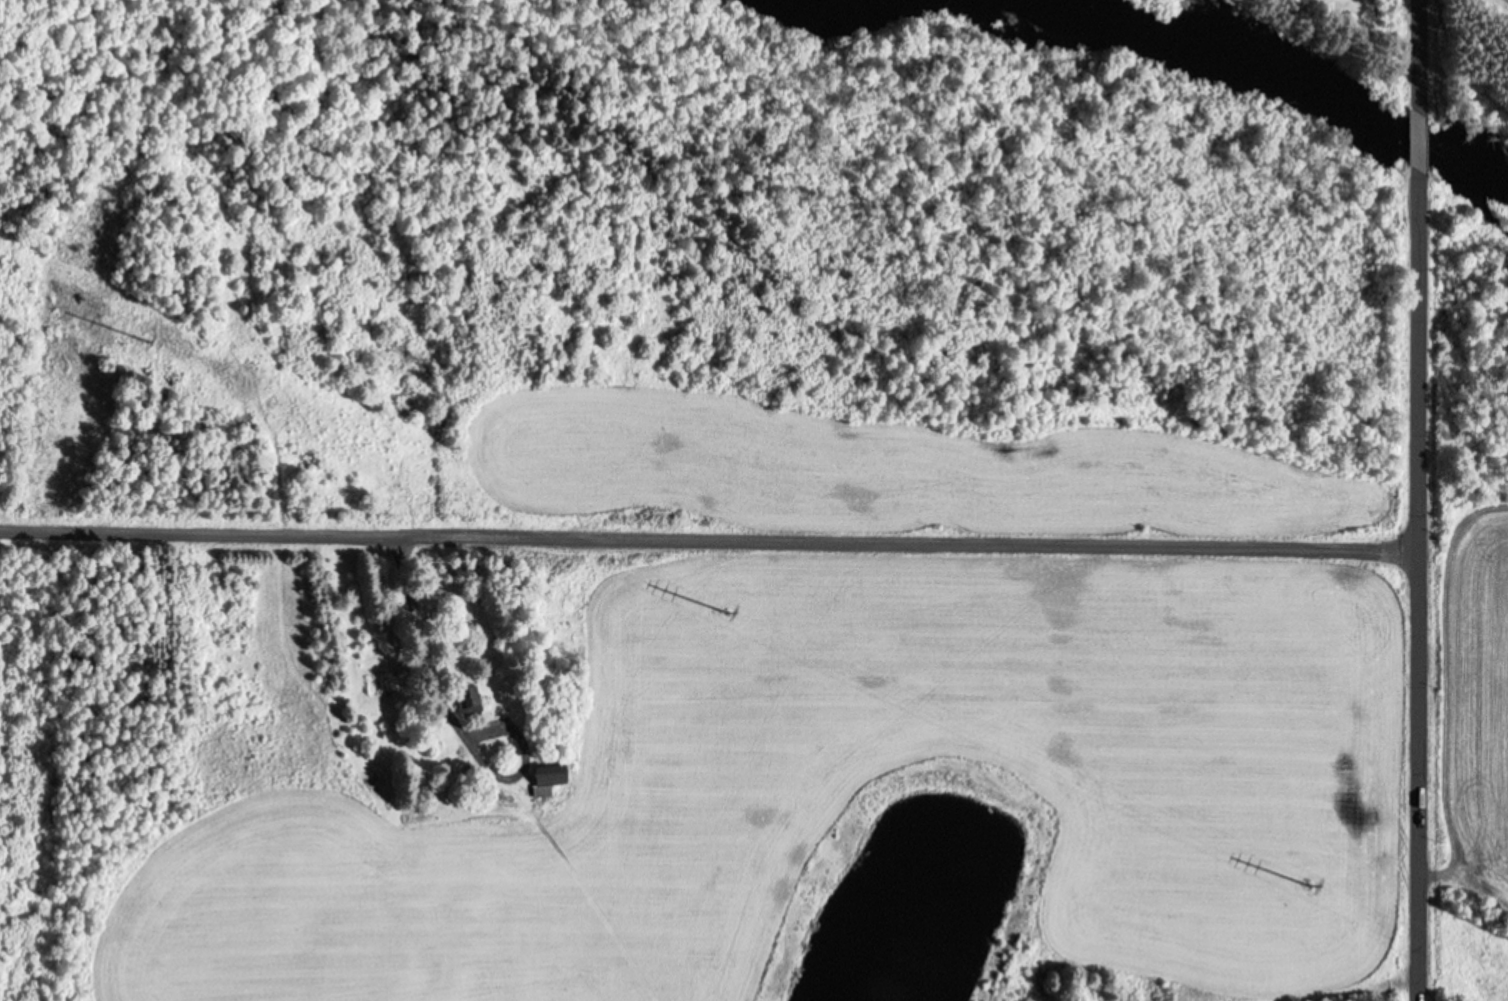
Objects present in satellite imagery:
road: (1419, 54)
river: (1293, 78)
road: (1418, 138)
power tower: (145, 339)
road: (708, 538)
road: (1418, 584)
power tower: (721, 611)
building: (468, 697)
building: (545, 776)
power tower: (1303, 885)

